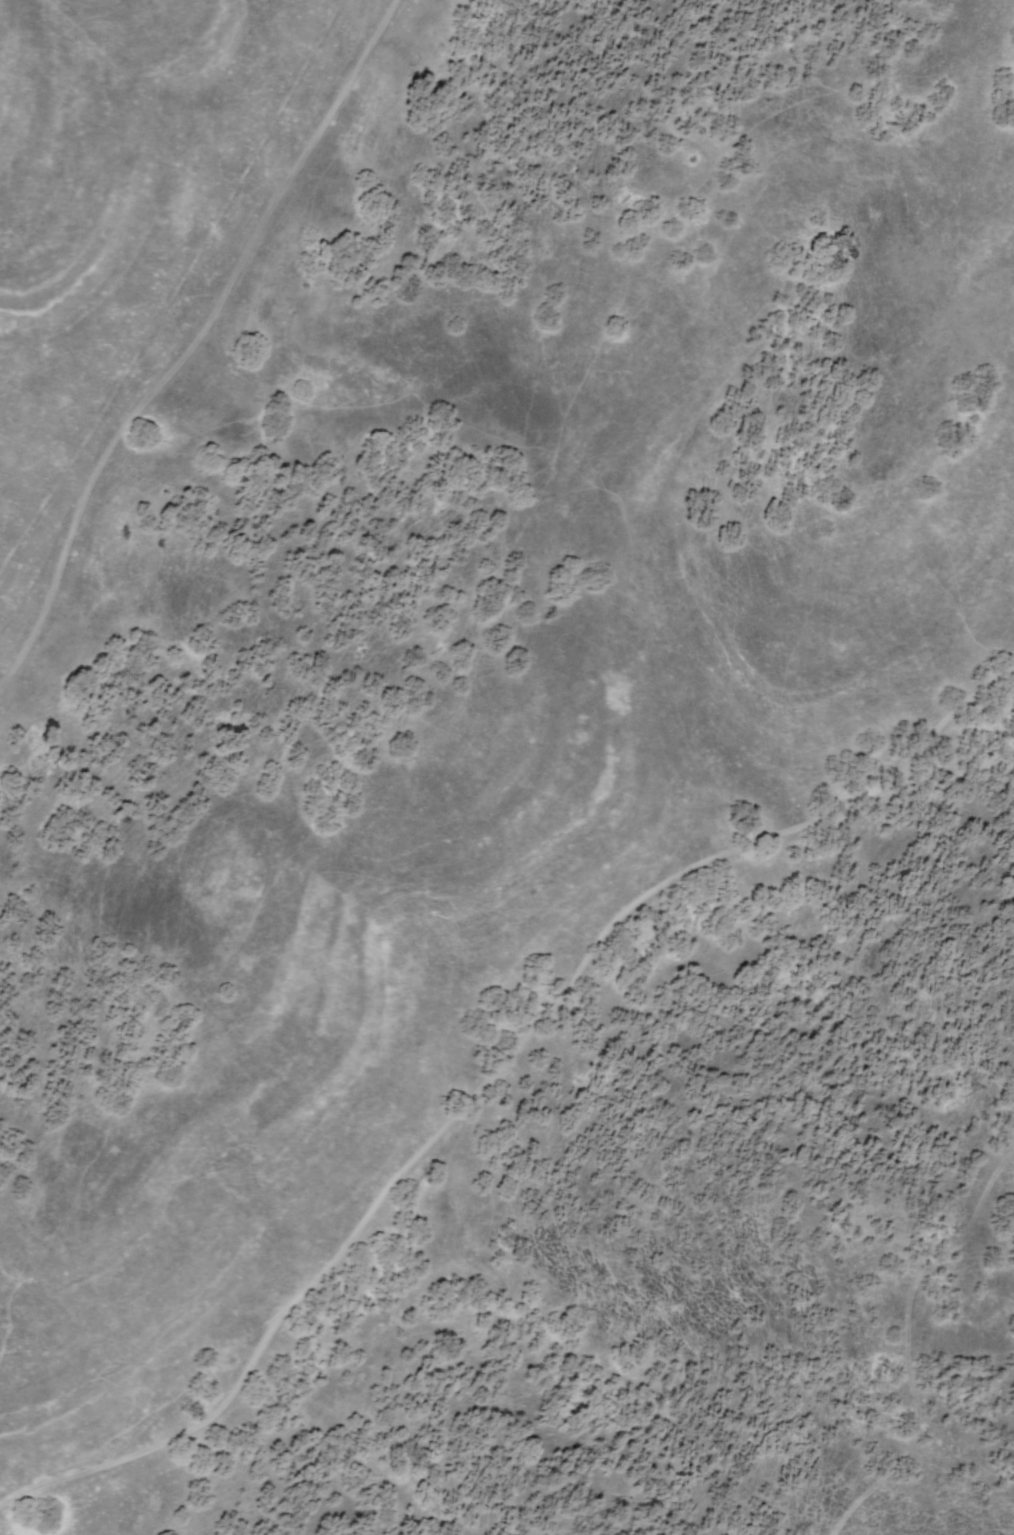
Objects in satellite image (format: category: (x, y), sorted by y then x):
road: (194, 344)
road: (494, 1078)
road: (853, 1511)

